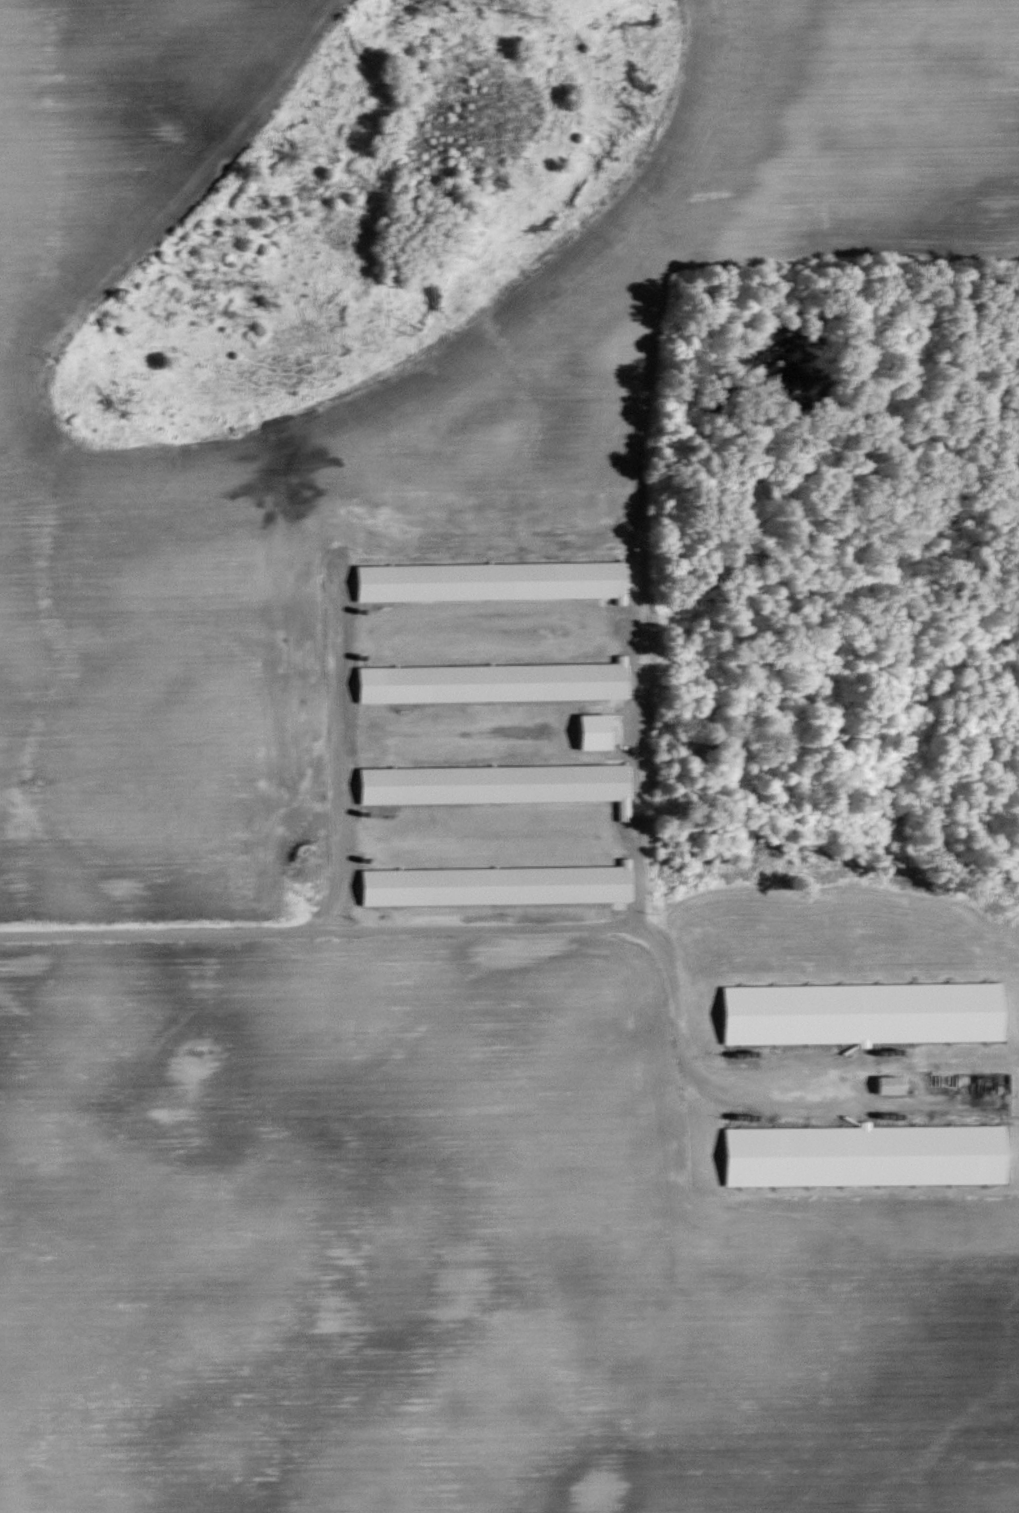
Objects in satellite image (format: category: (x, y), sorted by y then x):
road: (338, 755)
road: (634, 771)
road: (470, 924)
building: (865, 1013)
building: (892, 1083)
building: (868, 1154)

